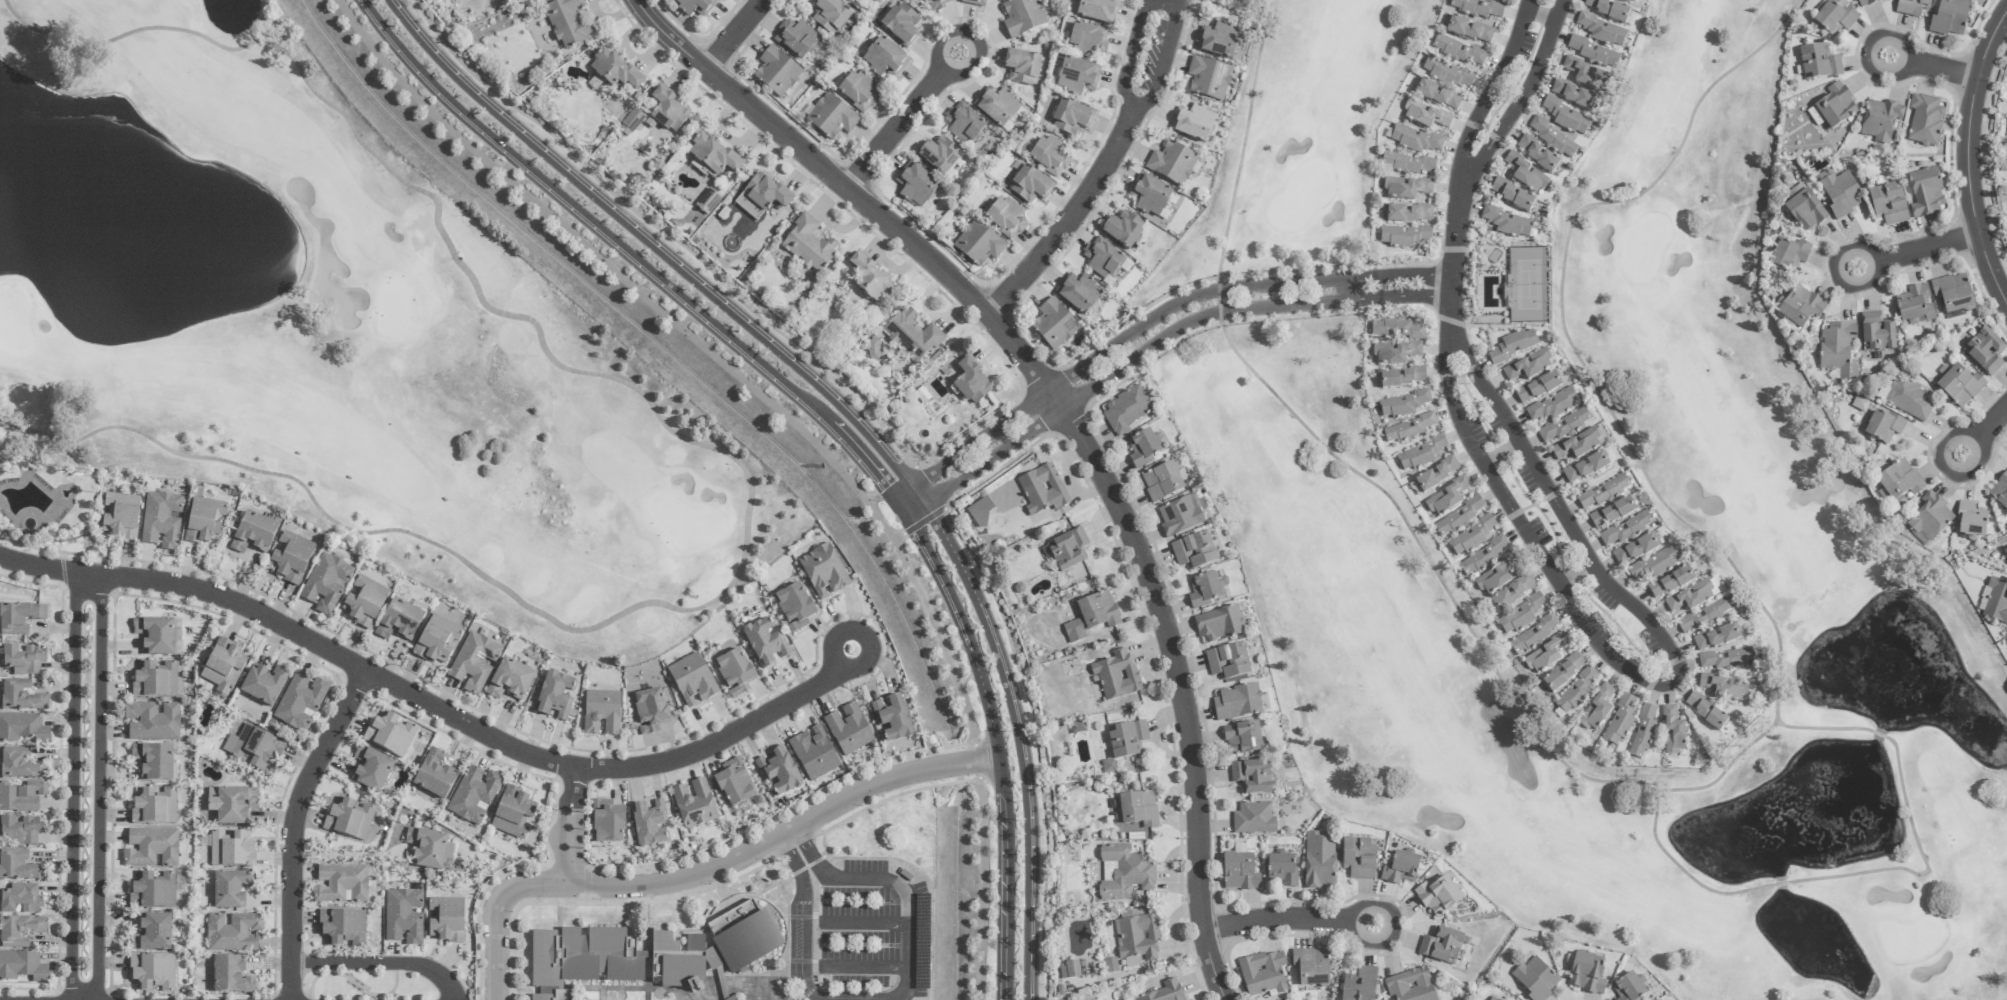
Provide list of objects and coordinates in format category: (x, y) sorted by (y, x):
building: (1629, 1)
building: (974, 2)
building: (1865, 2)
building: (936, 3)
park: (1236, 5)
building: (695, 6)
building: (1912, 7)
building: (1478, 8)
building: (1607, 9)
building: (1097, 11)
building: (830, 16)
building: (1022, 17)
road: (1539, 17)
building: (1836, 17)
building: (1950, 18)
building: (567, 22)
building: (901, 24)
building: (1469, 30)
building: (1602, 31)
road: (735, 33)
road: (1893, 37)
building: (795, 38)
building: (1087, 39)
building: (1218, 40)
road: (945, 42)
road: (1134, 51)
building: (1458, 51)
building: (1593, 52)
road: (1165, 54)
building: (884, 58)
road: (971, 63)
building: (1819, 64)
building: (1021, 67)
building: (614, 69)
road: (1942, 70)
building: (777, 72)
road: (1883, 73)
building: (1447, 74)
building: (1586, 75)
building: (1076, 77)
building: (1209, 79)
building: (859, 91)
building: (1437, 95)
building: (1573, 95)
building: (997, 106)
building: (1836, 106)
building: (669, 111)
building: (1425, 115)
building: (1565, 116)
building: (1814, 117)
building: (831, 118)
building: (1070, 118)
building: (1925, 120)
building: (1881, 121)
building: (1193, 123)
building: (964, 124)
road: (898, 126)
building: (1552, 138)
building: (1414, 139)
building: (1537, 154)
building: (939, 155)
building: (713, 156)
building: (1050, 156)
road: (1970, 159)
building: (1172, 163)
building: (1405, 164)
road: (1471, 165)
road: (1664, 169)
building: (1525, 173)
building: (915, 185)
building: (1029, 185)
building: (1406, 188)
building: (764, 192)
building: (1925, 193)
building: (1841, 194)
building: (1512, 195)
building: (1150, 196)
building: (1888, 204)
building: (1805, 211)
building: (1409, 214)
road: (1076, 217)
building: (1006, 218)
building: (1506, 222)
building: (1123, 229)
road: (663, 233)
building: (1403, 236)
road: (1453, 242)
building: (978, 244)
building: (808, 245)
road: (658, 250)
building: (1789, 254)
road: (1903, 257)
building: (1102, 258)
road: (633, 259)
building: (871, 280)
road: (1346, 290)
road: (1446, 291)
building: (1506, 291)
building: (1079, 293)
building: (1953, 293)
building: (1915, 305)
building: (1800, 308)
road: (1147, 322)
building: (1053, 325)
building: (1396, 330)
building: (1877, 333)
park: (341, 335)
building: (912, 335)
road: (698, 343)
road: (1152, 343)
building: (1513, 346)
building: (1838, 351)
building: (1985, 352)
building: (1395, 353)
building: (1529, 366)
building: (1402, 378)
building: (971, 382)
building: (1960, 386)
building: (1538, 389)
building: (1910, 399)
building: (1403, 404)
building: (1552, 406)
building: (1126, 410)
road: (1069, 421)
building: (1564, 426)
building: (1883, 426)
building: (1408, 429)
road: (1976, 443)
building: (1578, 445)
building: (1142, 449)
building: (1420, 454)
road: (730, 457)
building: (1586, 467)
building: (1436, 475)
park: (1756, 478)
building: (1899, 481)
building: (1162, 482)
road: (929, 487)
building: (1042, 490)
building: (1603, 492)
building: (2000, 492)
building: (1447, 498)
building: (980, 512)
building: (1612, 513)
building: (120, 516)
building: (1180, 516)
building: (1459, 517)
building: (1929, 518)
building: (161, 521)
building: (203, 521)
building: (1971, 521)
road: (917, 524)
building: (1625, 530)
building: (252, 533)
building: (1471, 537)
building: (1068, 549)
building: (1635, 549)
building: (1194, 552)
building: (2005, 553)
building: (291, 557)
building: (1483, 557)
building: (1655, 565)
building: (823, 572)
building: (1496, 576)
road: (88, 579)
building: (1670, 583)
building: (326, 584)
road: (86, 586)
building: (1207, 590)
building: (1512, 593)
building: (1691, 597)
building: (363, 601)
building: (1996, 601)
building: (794, 607)
building: (1520, 615)
building: (1092, 616)
building: (1703, 617)
building: (19, 618)
building: (399, 621)
road: (984, 624)
building: (1218, 624)
building: (1533, 635)
building: (153, 636)
building: (1716, 638)
building: (436, 640)
building: (764, 642)
road: (868, 642)
building: (1545, 655)
building: (22, 659)
building: (1725, 659)
building: (1228, 662)
building: (474, 663)
building: (222, 666)
building: (735, 673)
building: (1116, 675)
building: (153, 680)
building: (510, 680)
building: (692, 680)
building: (263, 684)
road: (1667, 685)
building: (1724, 688)
building: (1578, 691)
road: (1507, 692)
building: (554, 695)
building: (20, 696)
building: (300, 702)
building: (1236, 702)
road: (425, 703)
building: (1597, 709)
building: (650, 711)
building: (1705, 711)
building: (601, 713)
building: (892, 718)
building: (152, 721)
building: (1620, 721)
building: (23, 728)
road: (1822, 728)
building: (848, 729)
building: (1672, 731)
building: (1643, 732)
building: (389, 734)
road: (1880, 735)
building: (1242, 738)
building: (1127, 739)
road: (1035, 744)
building: (254, 747)
road: (996, 748)
building: (814, 753)
road: (978, 761)
building: (153, 762)
building: (18, 764)
building: (371, 769)
building: (779, 771)
building: (434, 775)
road: (885, 777)
building: (1252, 777)
building: (734, 783)
building: (474, 795)
building: (22, 796)
building: (694, 803)
road: (981, 803)
building: (231, 804)
building: (152, 806)
building: (1138, 808)
building: (512, 813)
building: (348, 819)
building: (1253, 819)
building: (607, 822)
road: (568, 824)
building: (648, 824)
road: (293, 827)
building: (20, 829)
building: (150, 848)
building: (231, 849)
building: (428, 849)
road: (349, 857)
building: (1358, 858)
road: (813, 859)
building: (1319, 860)
building: (18, 867)
building: (1282, 869)
building: (1400, 869)
road: (1925, 871)
building: (1125, 872)
road: (1684, 872)
building: (1239, 873)
road: (1027, 876)
road: (594, 882)
building: (341, 884)
road: (1779, 884)
building: (230, 889)
building: (153, 891)
building: (1438, 896)
building: (20, 899)
road: (1944, 906)
road: (906, 913)
road: (982, 914)
building: (403, 916)
building: (446, 919)
road: (1304, 919)
building: (342, 927)
building: (19, 931)
building: (152, 933)
building: (233, 933)
building: (1137, 939)
building: (1441, 945)
building: (653, 954)
road: (801, 956)
road: (382, 963)
building: (22, 967)
building: (1311, 967)
building: (1069, 970)
building: (152, 973)
building: (1263, 973)
building: (1586, 974)
building: (231, 976)
building: (1535, 979)
building: (1360, 985)
building: (1410, 986)
building: (1628, 988)
building: (1165, 992)
road: (84, 998)
building: (1492, 999)

